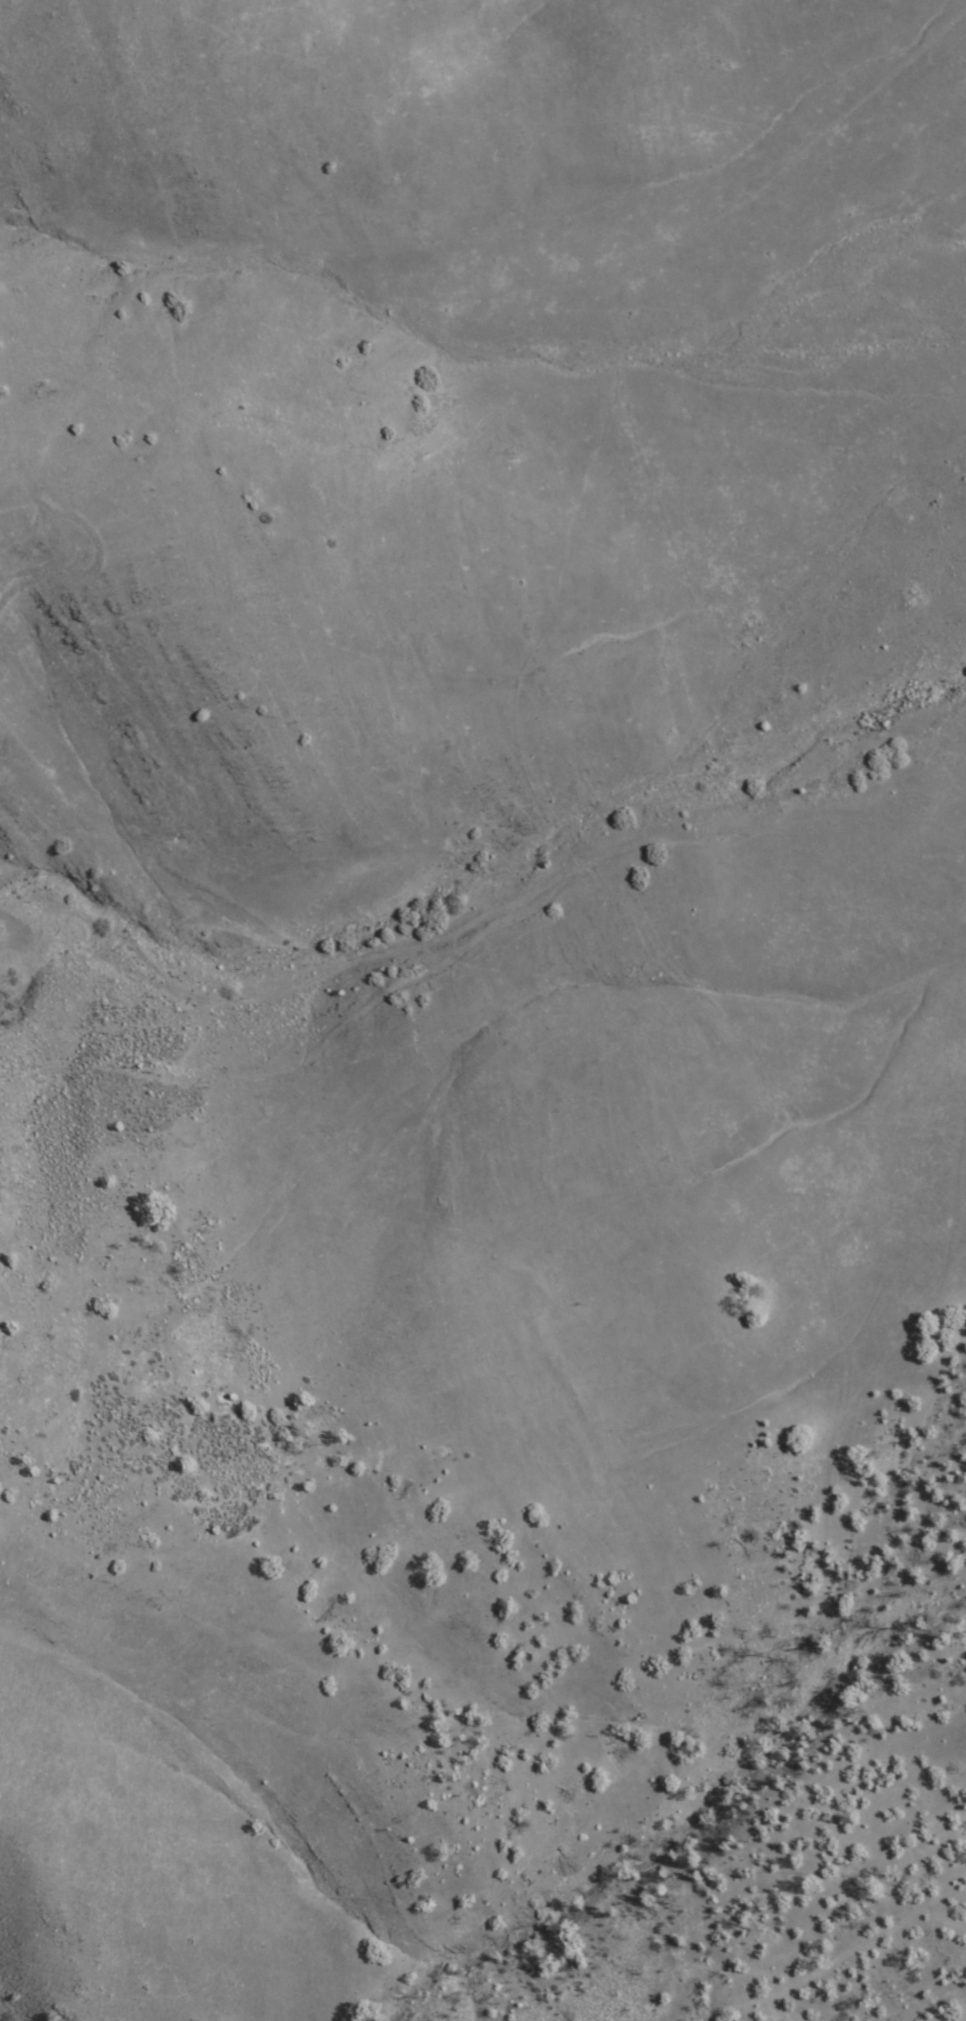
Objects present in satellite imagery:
road: (520, 909)
road: (808, 1462)

